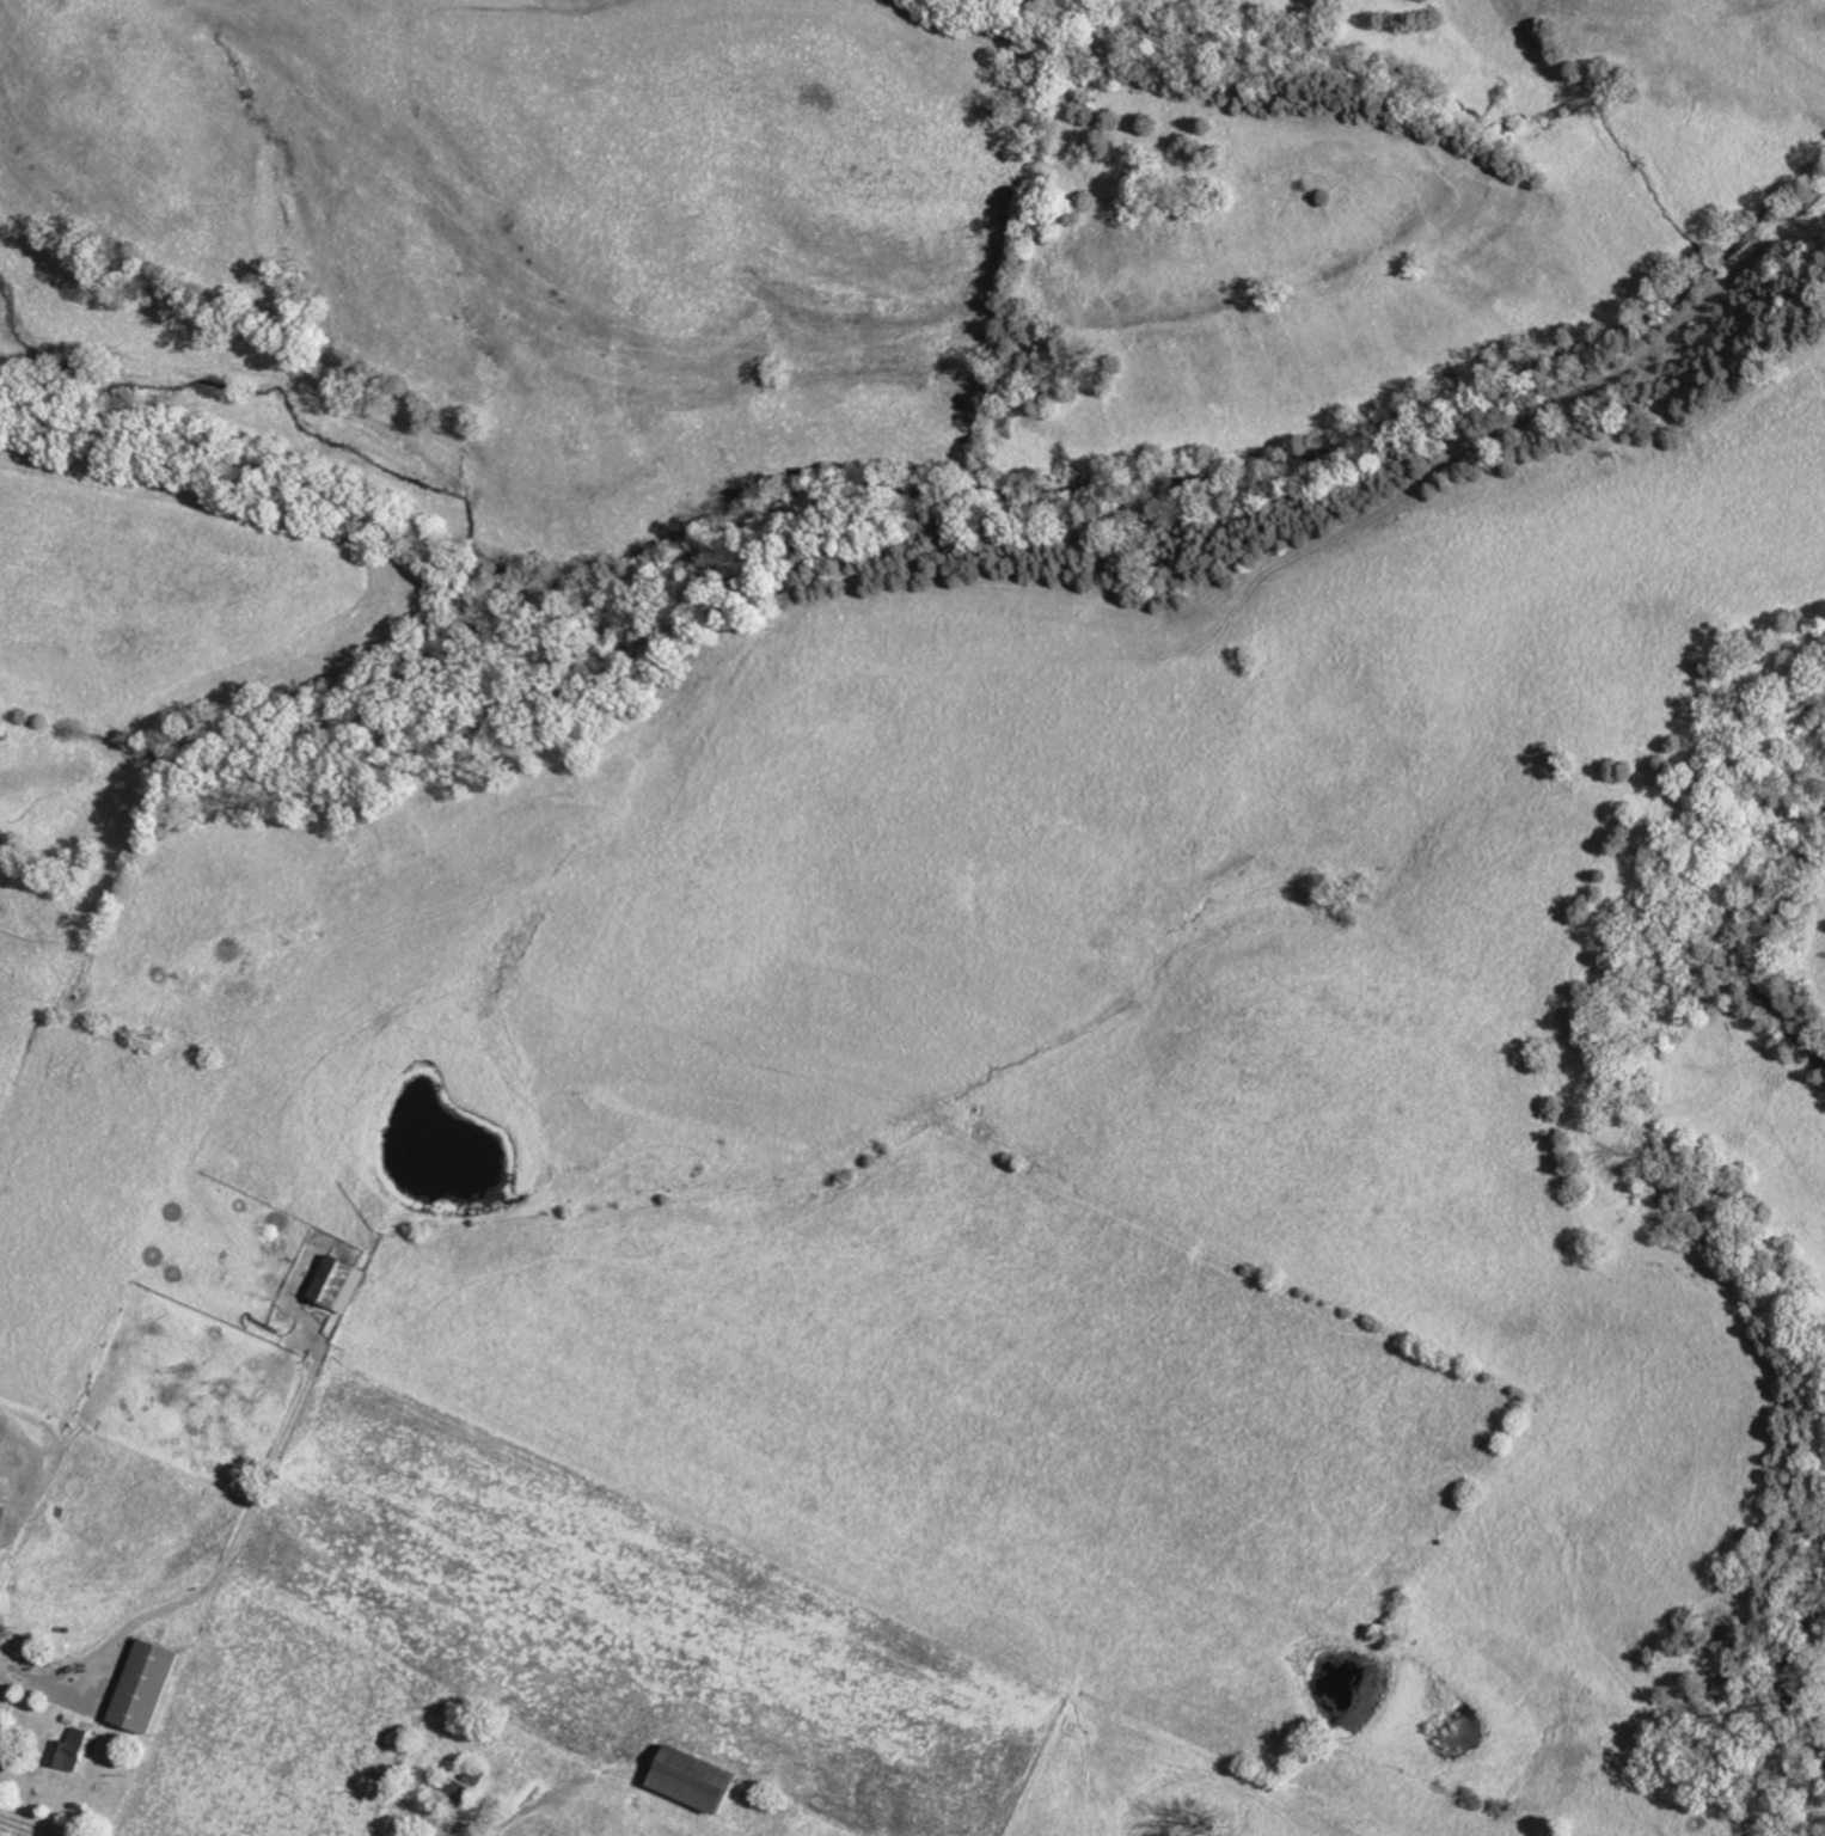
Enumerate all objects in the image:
building: (339, 1284)
building: (1, 1592)
building: (147, 1688)
building: (72, 1751)
building: (697, 1780)
road: (452, 1807)

